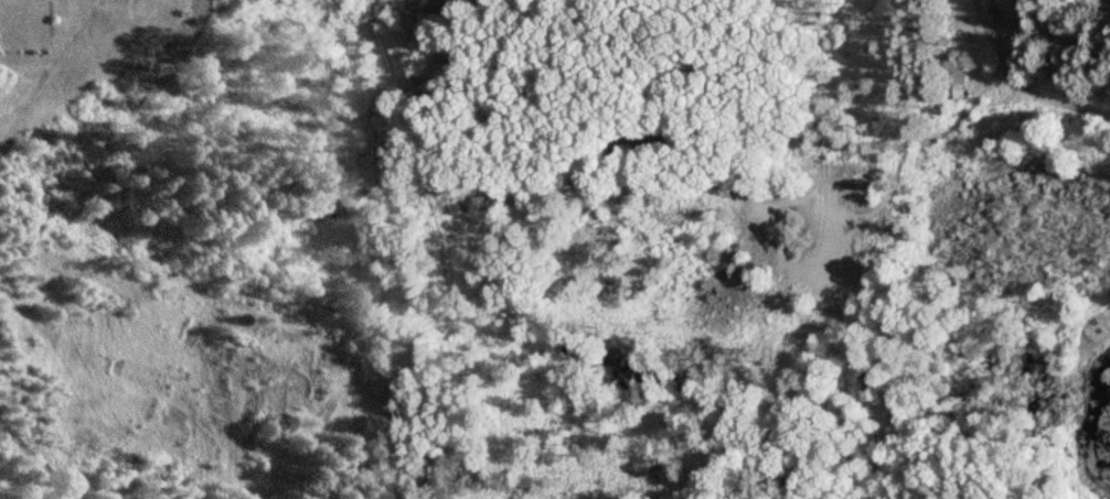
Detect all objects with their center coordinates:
building: (960, 82)

